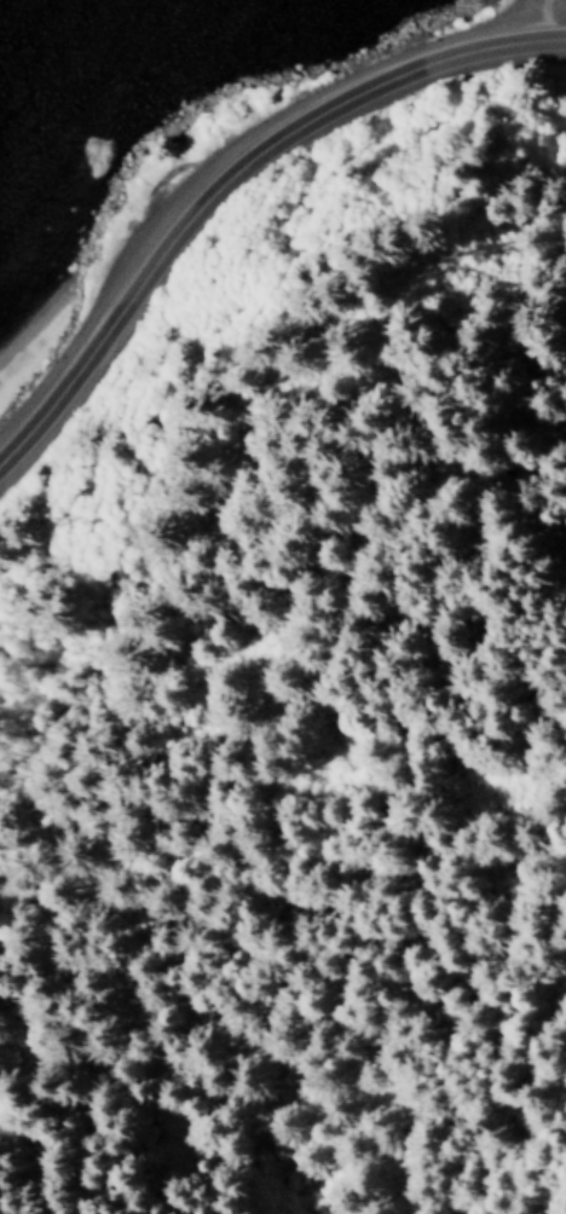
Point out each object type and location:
road: (533, 10)
road: (547, 18)
park: (544, 24)
park: (541, 97)
road: (230, 184)
park: (23, 414)

